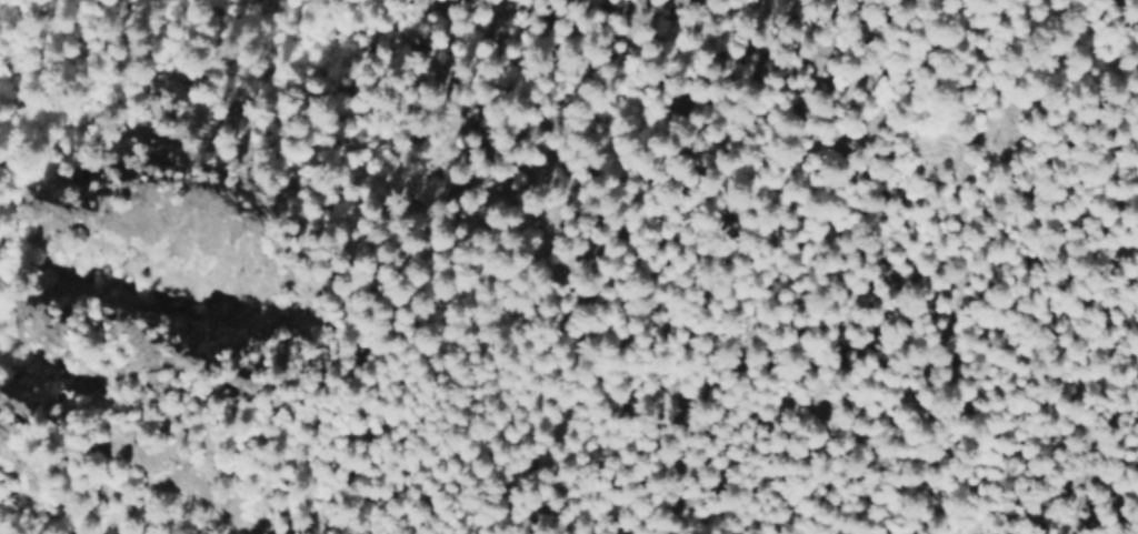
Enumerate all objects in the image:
road: (696, 339)

